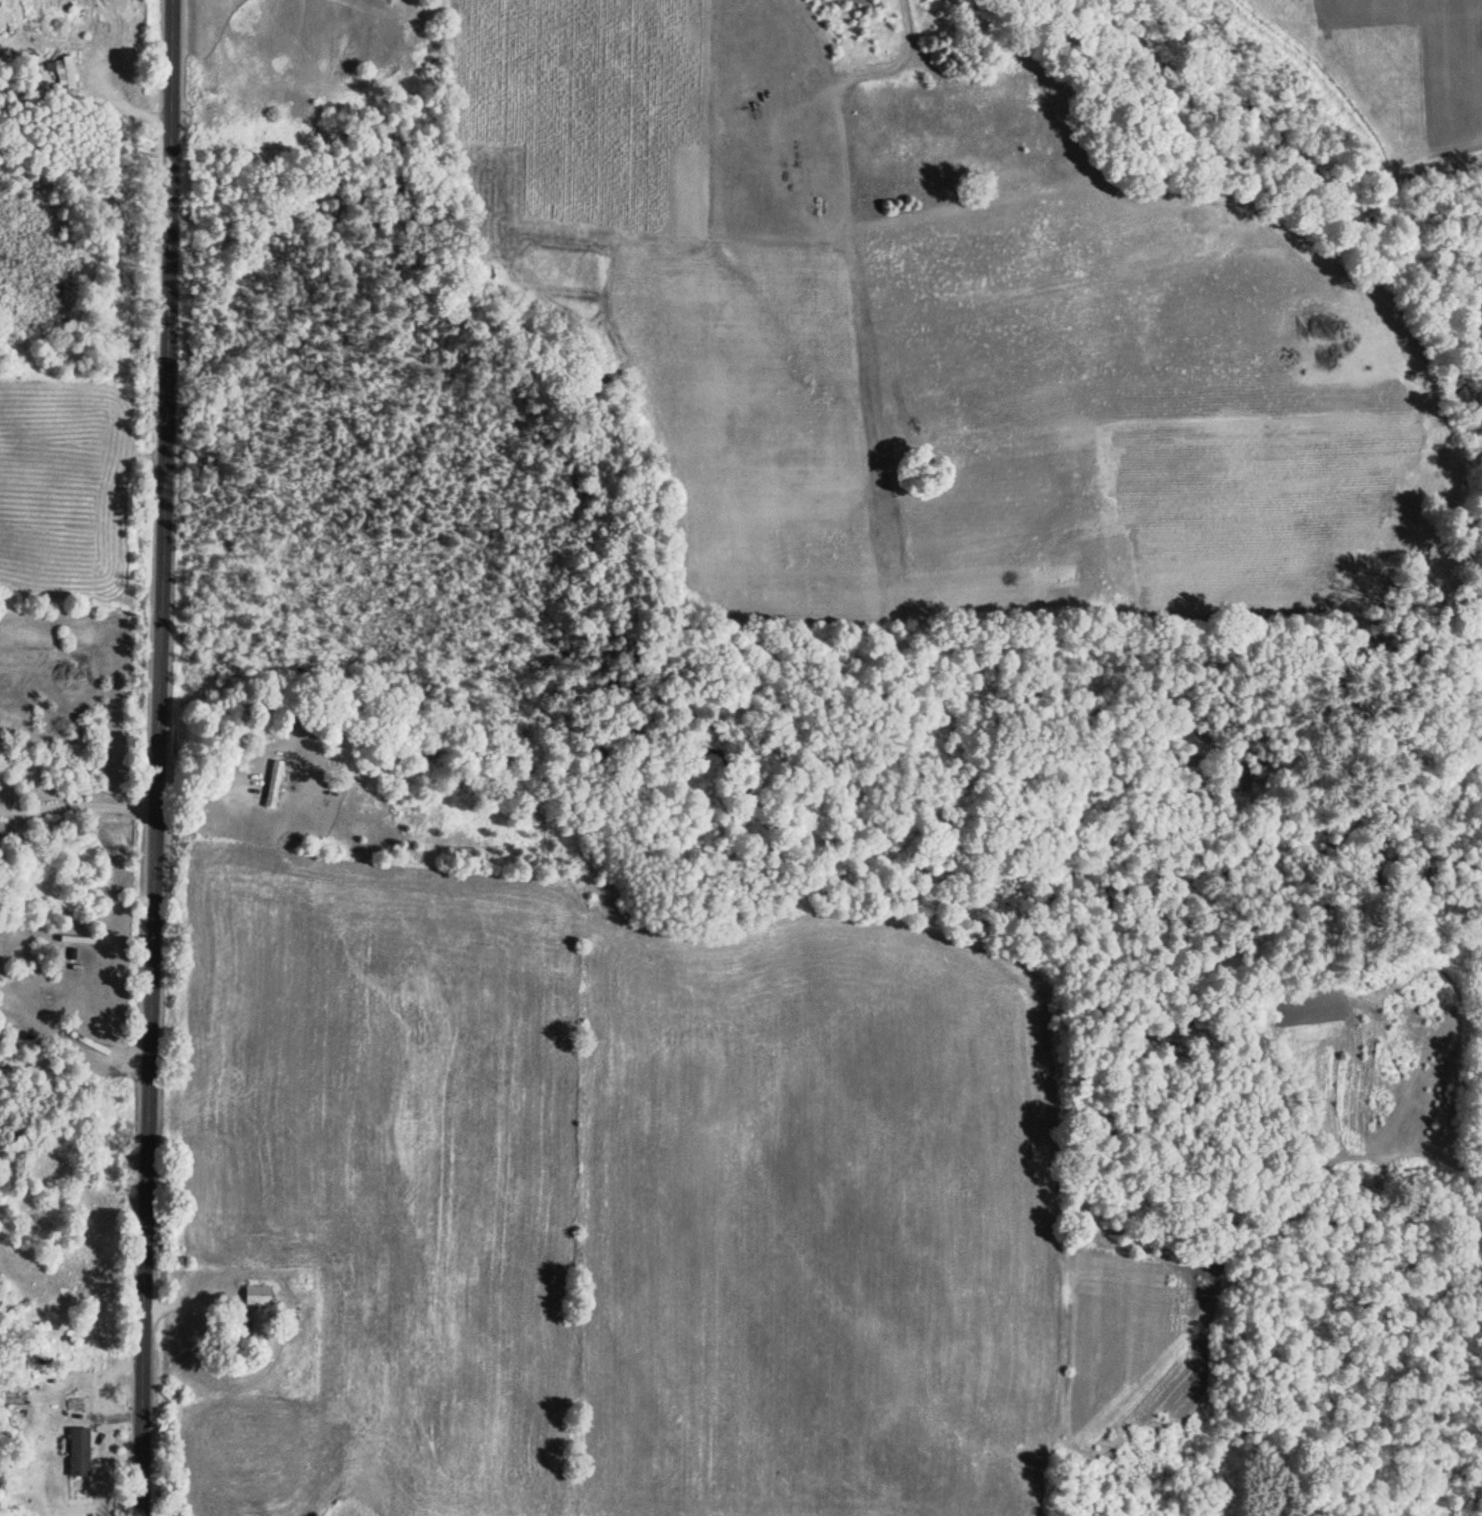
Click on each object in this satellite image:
building: (0, 0)
building: (62, 74)
road: (157, 758)
building: (272, 786)
building: (261, 1294)
building: (83, 1450)

